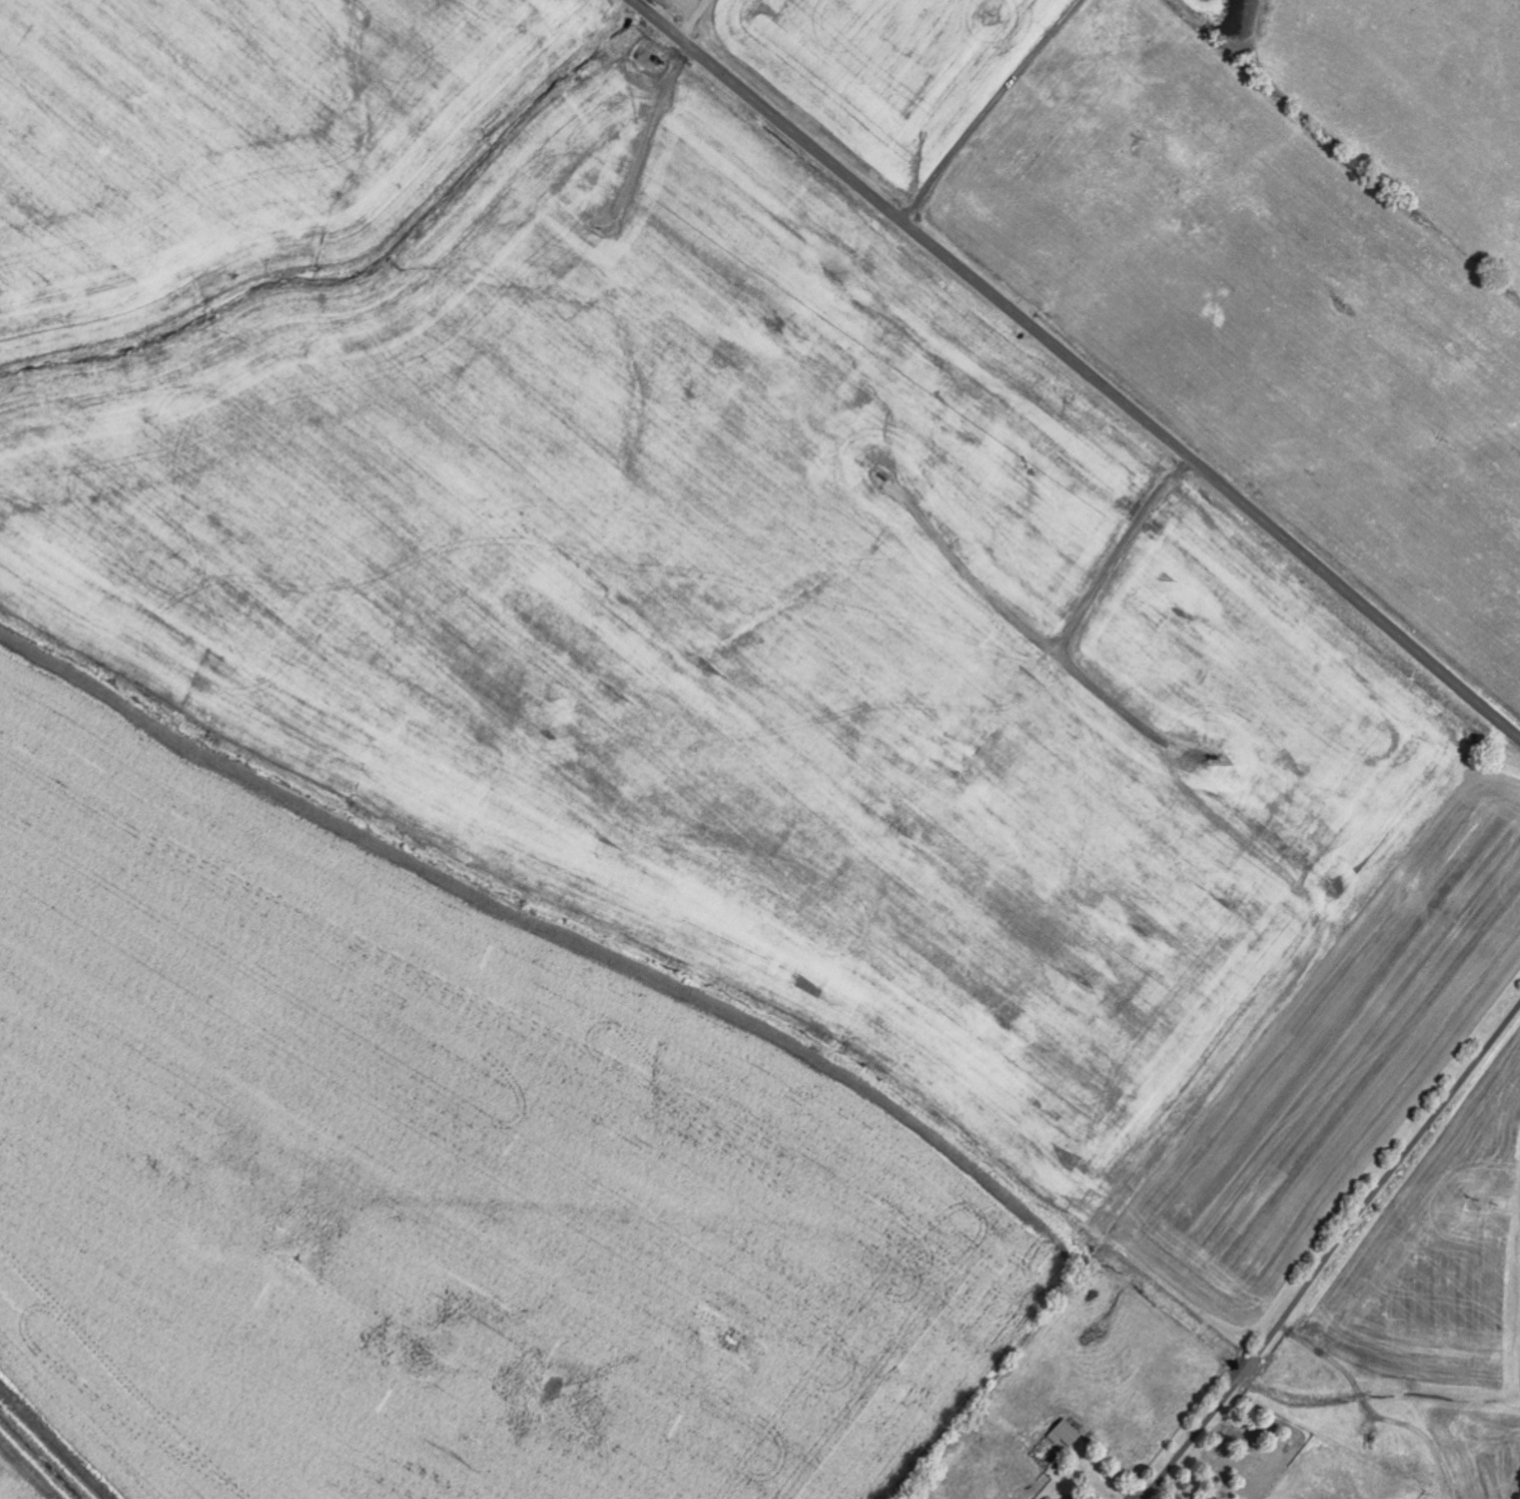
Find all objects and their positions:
road: (1079, 366)
road: (1363, 1232)
building: (1065, 1434)
building: (1069, 1497)

